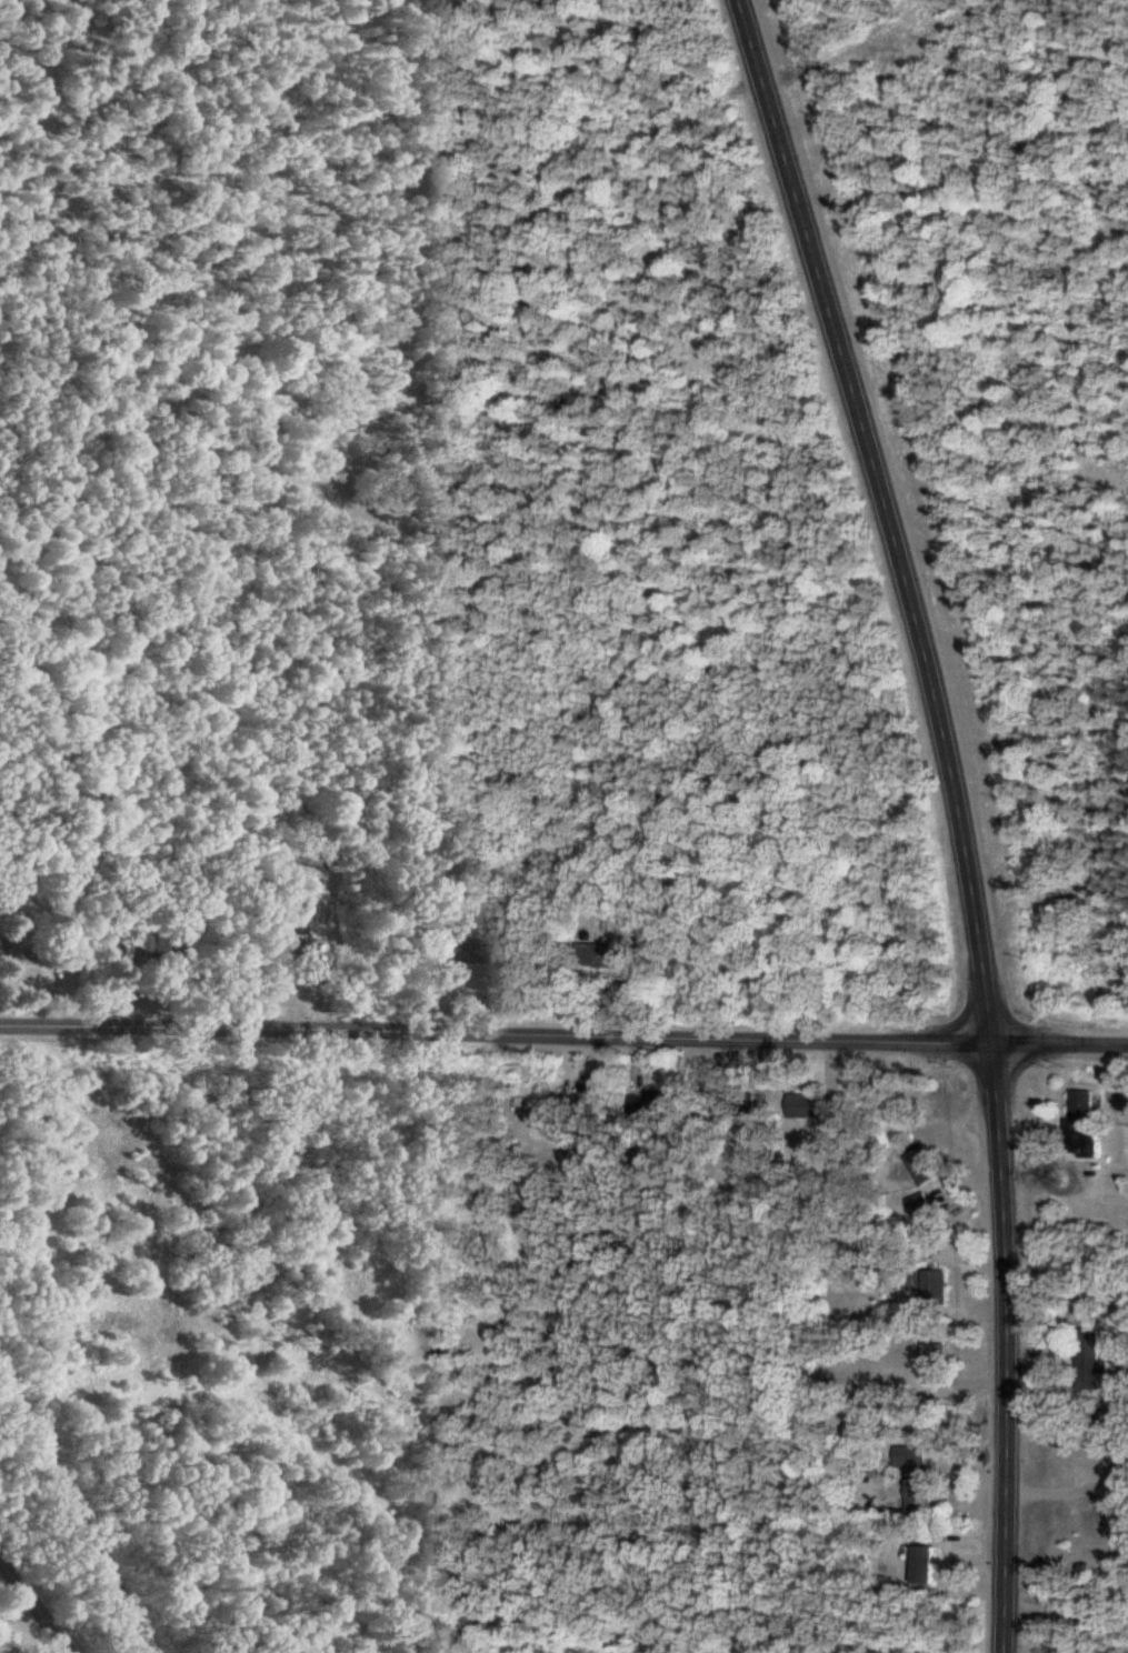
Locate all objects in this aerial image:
road: (964, 813)
building: (0, 946)
building: (462, 952)
building: (603, 958)
road: (563, 1036)
building: (592, 1098)
building: (1087, 1103)
building: (815, 1110)
building: (1087, 1136)
building: (925, 1170)
building: (938, 1290)
building: (937, 1363)
road: (1070, 1394)
building: (1092, 1467)
building: (918, 1477)
road: (1077, 1490)
road: (78, 1504)
building: (928, 1567)
road: (38, 1604)
road: (1067, 1609)

